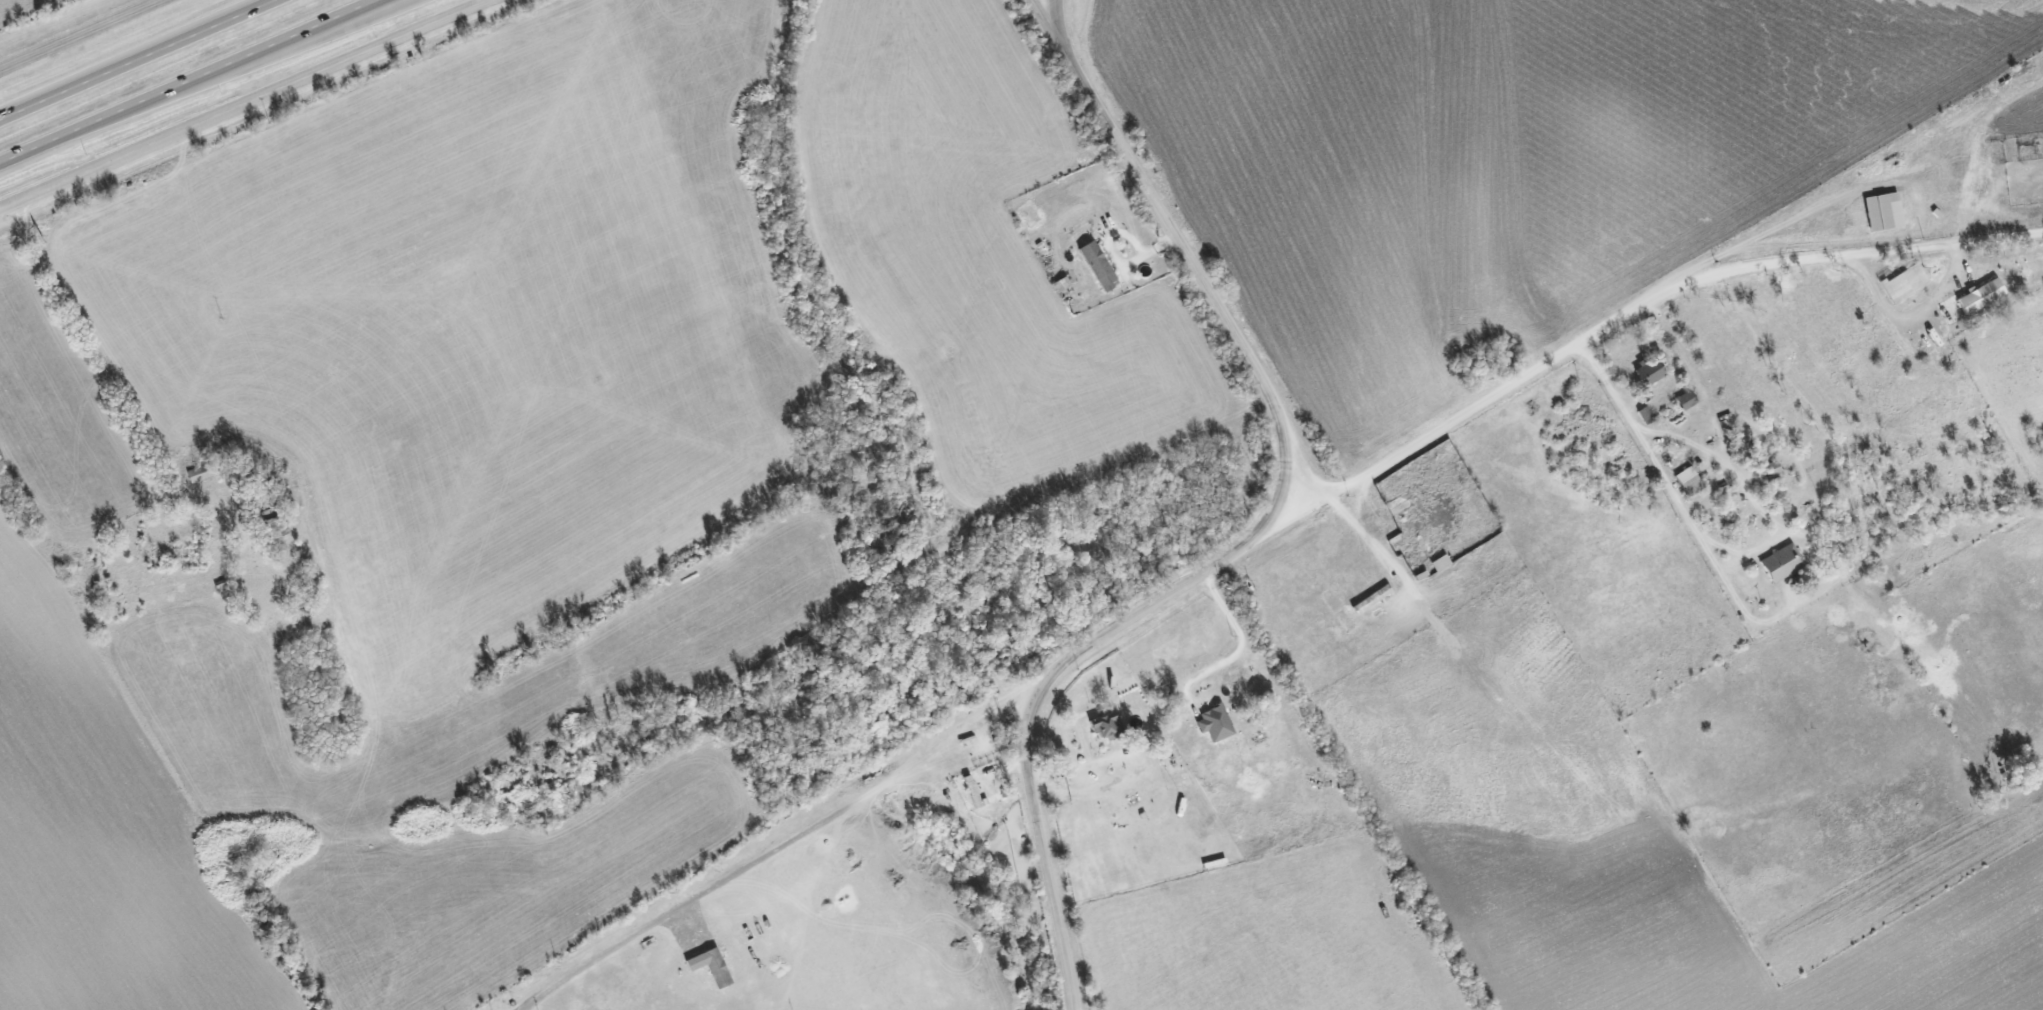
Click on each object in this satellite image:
road: (1056, 18)
road: (82, 36)
road: (139, 60)
road: (191, 82)
road: (209, 84)
road: (247, 105)
crop: (2019, 114)
building: (1884, 210)
building: (1099, 265)
building: (1905, 282)
building: (1981, 295)
road: (1642, 307)
road: (1912, 315)
road: (98, 348)
building: (1688, 479)
road: (1363, 502)
road: (1344, 508)
road: (1264, 529)
road: (1723, 547)
road: (1389, 557)
building: (1782, 562)
road: (1788, 611)
road: (1185, 716)
building: (1215, 723)
building: (1107, 726)
road: (1087, 759)
road: (789, 842)
crop: (1613, 843)
building: (711, 965)

